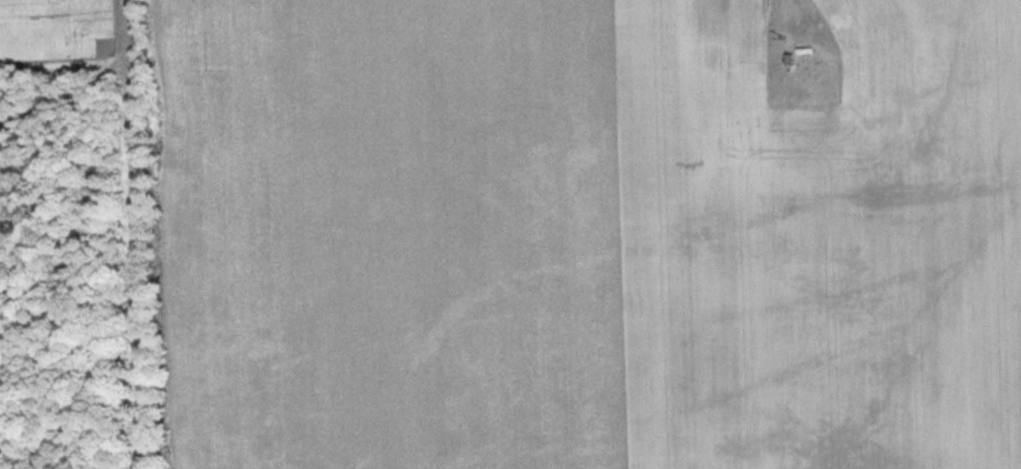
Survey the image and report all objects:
building: (742, 11)

